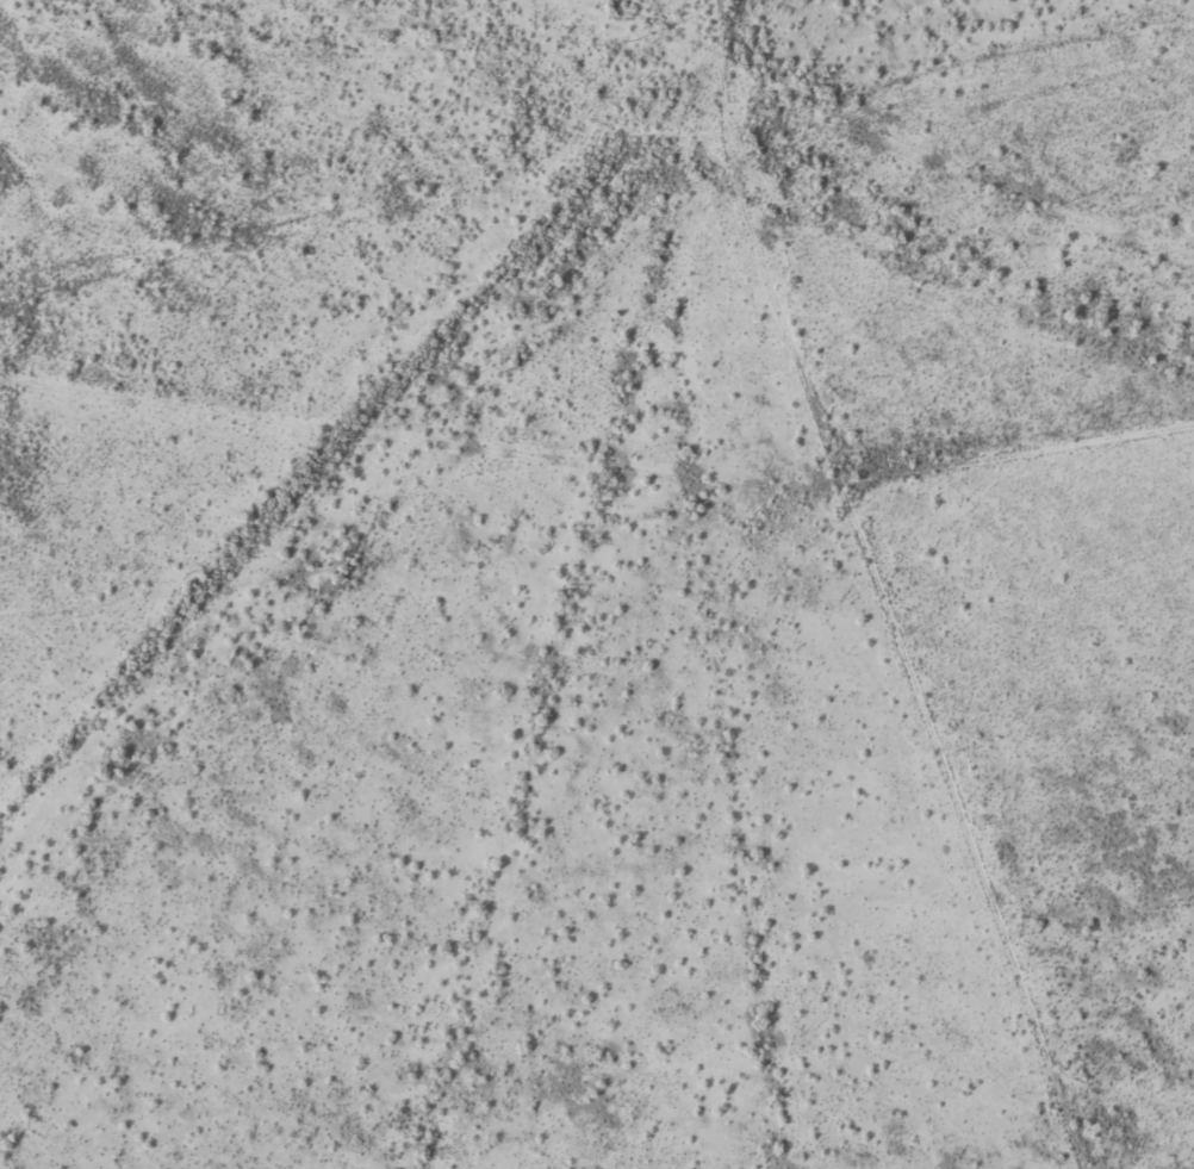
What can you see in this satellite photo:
power tower: (635, 41)
power tower: (846, 124)
power tower: (1056, 207)

